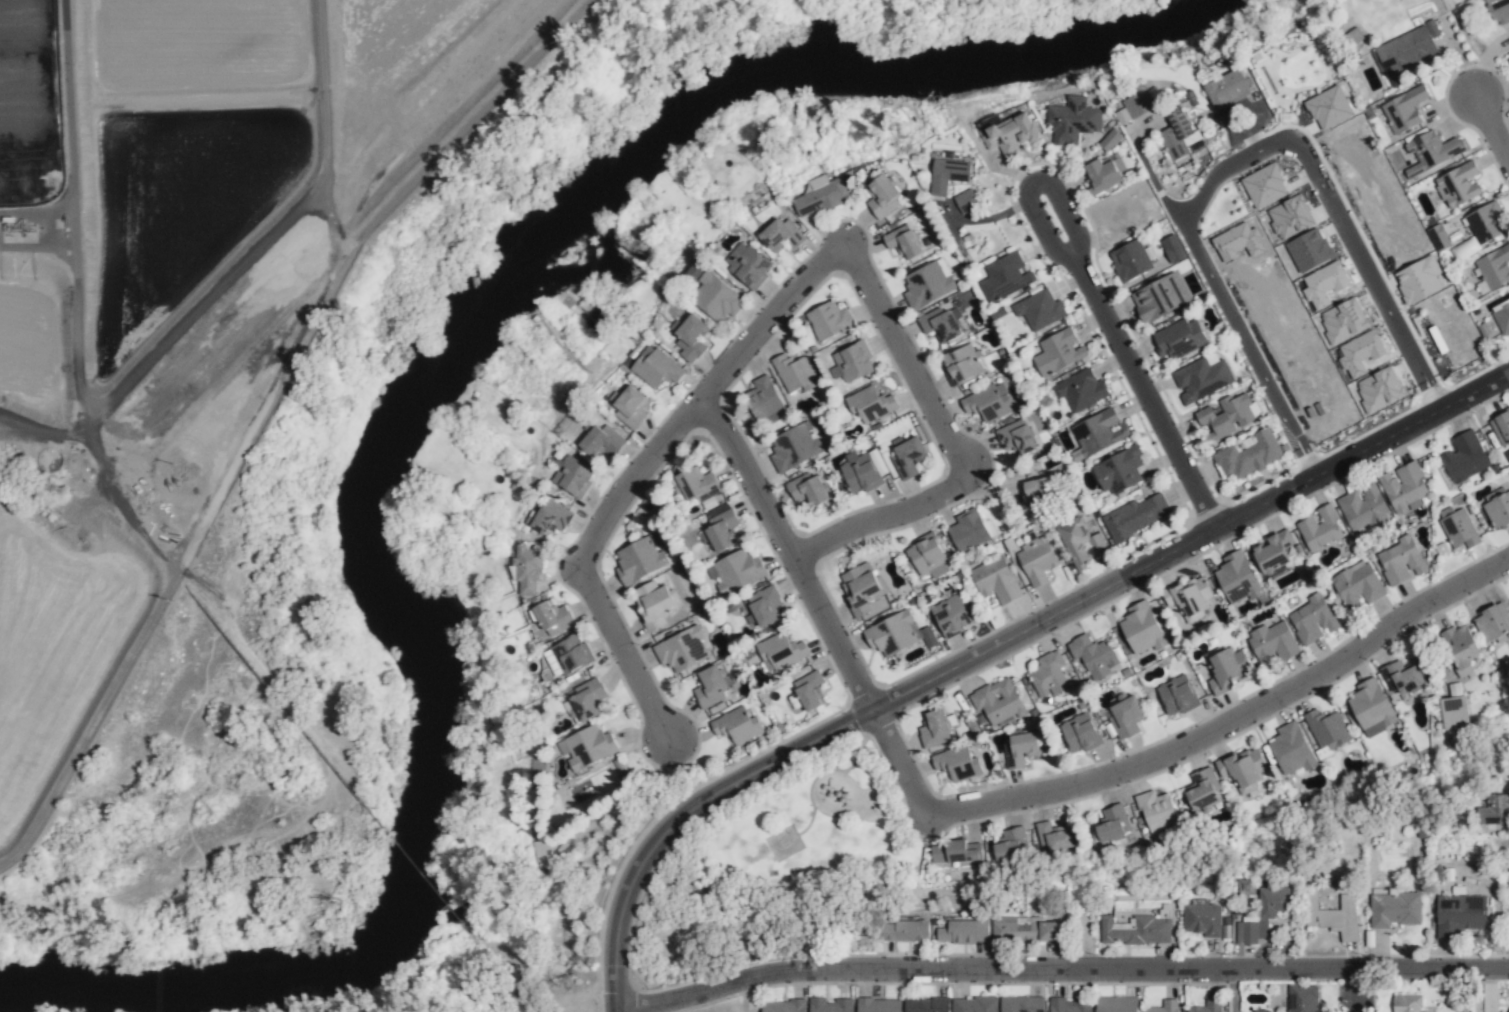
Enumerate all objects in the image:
building: (1499, 10)
building: (1406, 49)
building: (1227, 89)
building: (1329, 107)
building: (1260, 109)
building: (1404, 109)
building: (1073, 120)
road: (1492, 126)
building: (1008, 133)
building: (1180, 137)
building: (1110, 140)
building: (1432, 151)
building: (1103, 174)
building: (947, 175)
building: (1458, 185)
building: (1264, 186)
road: (1329, 194)
building: (820, 195)
building: (882, 196)
building: (966, 200)
building: (1288, 218)
building: (1486, 223)
building: (781, 234)
building: (903, 242)
building: (1238, 242)
building: (1172, 249)
building: (1309, 250)
building: (1131, 260)
building: (747, 265)
building: (1493, 269)
building: (1005, 277)
building: (1418, 280)
building: (928, 284)
building: (1324, 284)
building: (1159, 297)
building: (715, 298)
road: (1097, 306)
building: (1039, 310)
building: (1502, 319)
building: (828, 320)
building: (1343, 321)
building: (940, 325)
building: (689, 337)
building: (1179, 338)
building: (1058, 352)
building: (1360, 353)
road: (1257, 361)
building: (850, 364)
building: (963, 364)
building: (655, 367)
building: (795, 373)
building: (1202, 378)
building: (1080, 390)
building: (1378, 390)
river: (412, 397)
building: (764, 399)
building: (988, 403)
building: (870, 405)
building: (631, 407)
building: (1228, 416)
building: (1501, 428)
building: (1098, 433)
building: (600, 440)
road: (951, 446)
building: (794, 447)
building: (1249, 455)
building: (907, 456)
building: (1465, 457)
building: (1119, 470)
road: (643, 474)
building: (573, 476)
building: (1404, 488)
building: (808, 490)
building: (1040, 492)
building: (1363, 508)
building: (1498, 511)
building: (1135, 516)
building: (549, 517)
building: (1320, 527)
building: (1458, 527)
building: (721, 530)
building: (968, 530)
building: (1080, 542)
building: (1273, 551)
road: (794, 552)
building: (927, 557)
building: (640, 559)
building: (1036, 560)
building: (1401, 561)
building: (527, 569)
building: (736, 571)
building: (1237, 578)
building: (995, 580)
building: (1358, 585)
building: (860, 588)
building: (1188, 597)
building: (653, 604)
building: (763, 606)
building: (951, 615)
building: (552, 618)
building: (1313, 619)
building: (1492, 621)
building: (1142, 629)
building: (897, 634)
road: (1001, 640)
building: (1272, 643)
building: (1460, 649)
building: (681, 650)
building: (781, 652)
building: (570, 654)
building: (1094, 656)
building: (1226, 669)
building: (1049, 675)
building: (1402, 677)
building: (809, 691)
building: (1177, 695)
building: (587, 699)
building: (998, 701)
building: (1371, 708)
building: (1455, 713)
building: (1126, 717)
building: (737, 726)
building: (934, 729)
building: (1327, 730)
building: (1080, 733)
road: (1182, 745)
building: (588, 746)
building: (1023, 747)
building: (1291, 749)
building: (1009, 757)
building: (957, 764)
building: (1243, 769)
building: (1201, 790)
building: (1494, 808)
building: (1156, 811)
building: (1113, 823)
building: (1052, 837)
building: (1011, 843)
building: (954, 852)
building: (1395, 909)
building: (1460, 914)
building: (1262, 915)
building: (1332, 915)
building: (1203, 919)
building: (1024, 929)
building: (1136, 930)
building: (906, 931)
building: (964, 932)
road: (1069, 971)
road: (1357, 980)
road: (1234, 992)
road: (741, 996)
building: (1302, 998)
road: (1356, 999)
building: (1406, 1003)
building: (974, 1004)
building: (1021, 1004)
building: (1116, 1004)
building: (830, 1005)
building: (878, 1005)
building: (926, 1005)
building: (1070, 1005)
building: (783, 1006)
building: (1164, 1006)
building: (1207, 1006)
building: (1508, 1009)
building: (1258, 1011)

